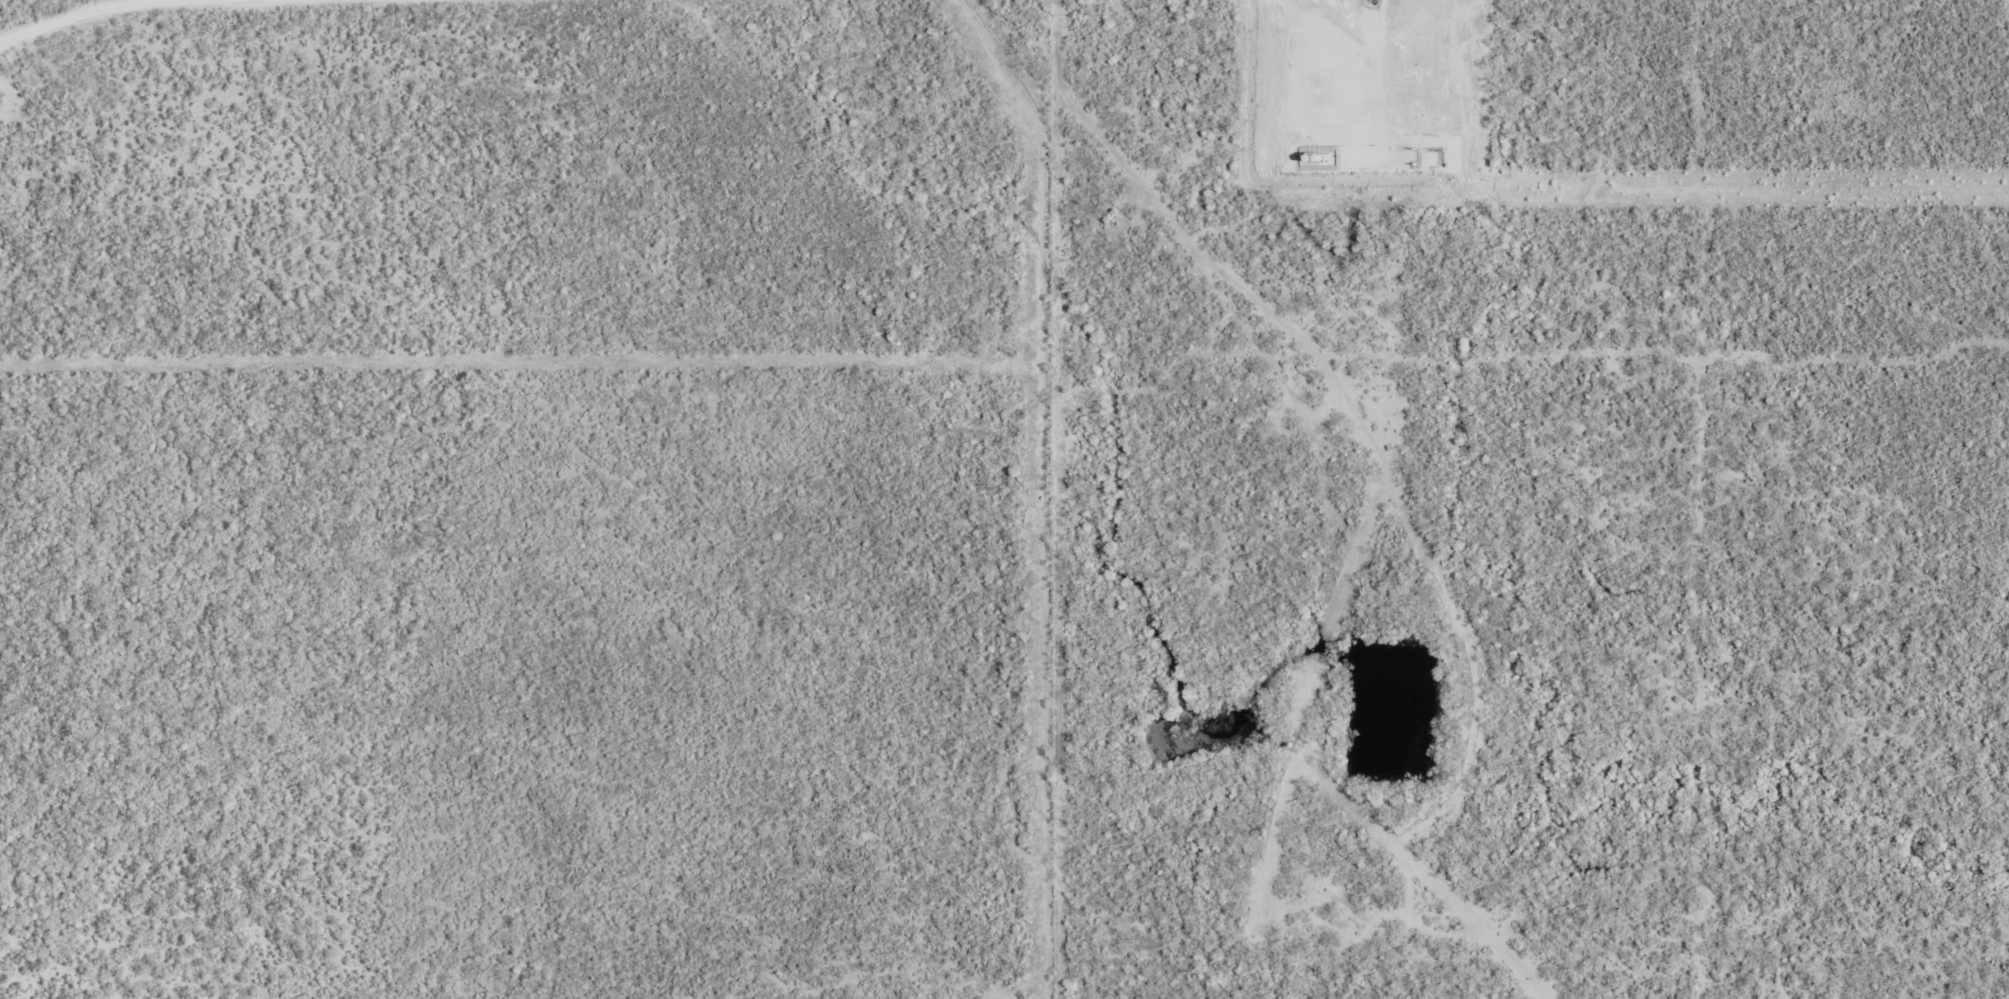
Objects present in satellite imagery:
road: (73, 15)

